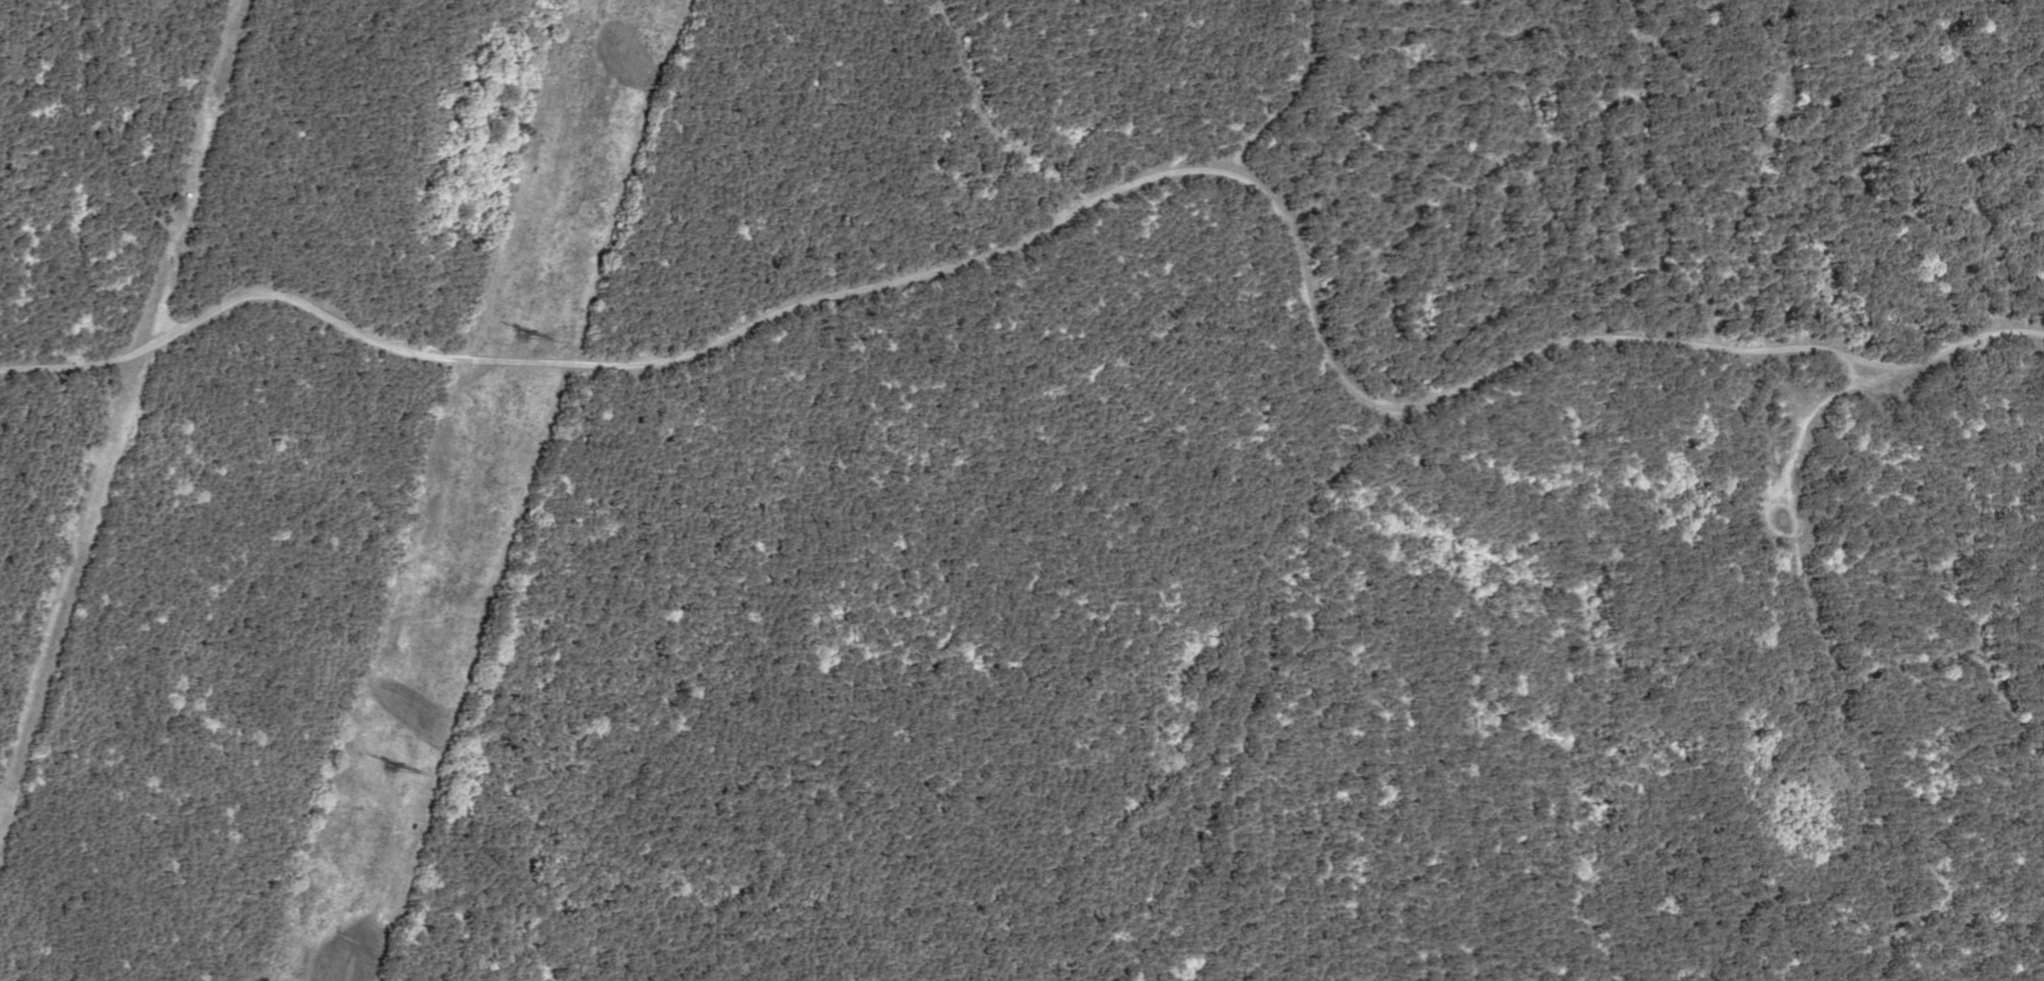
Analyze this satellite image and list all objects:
road: (153, 175)
road: (1135, 184)
power tower: (518, 331)
road: (73, 366)
power tower: (383, 769)

